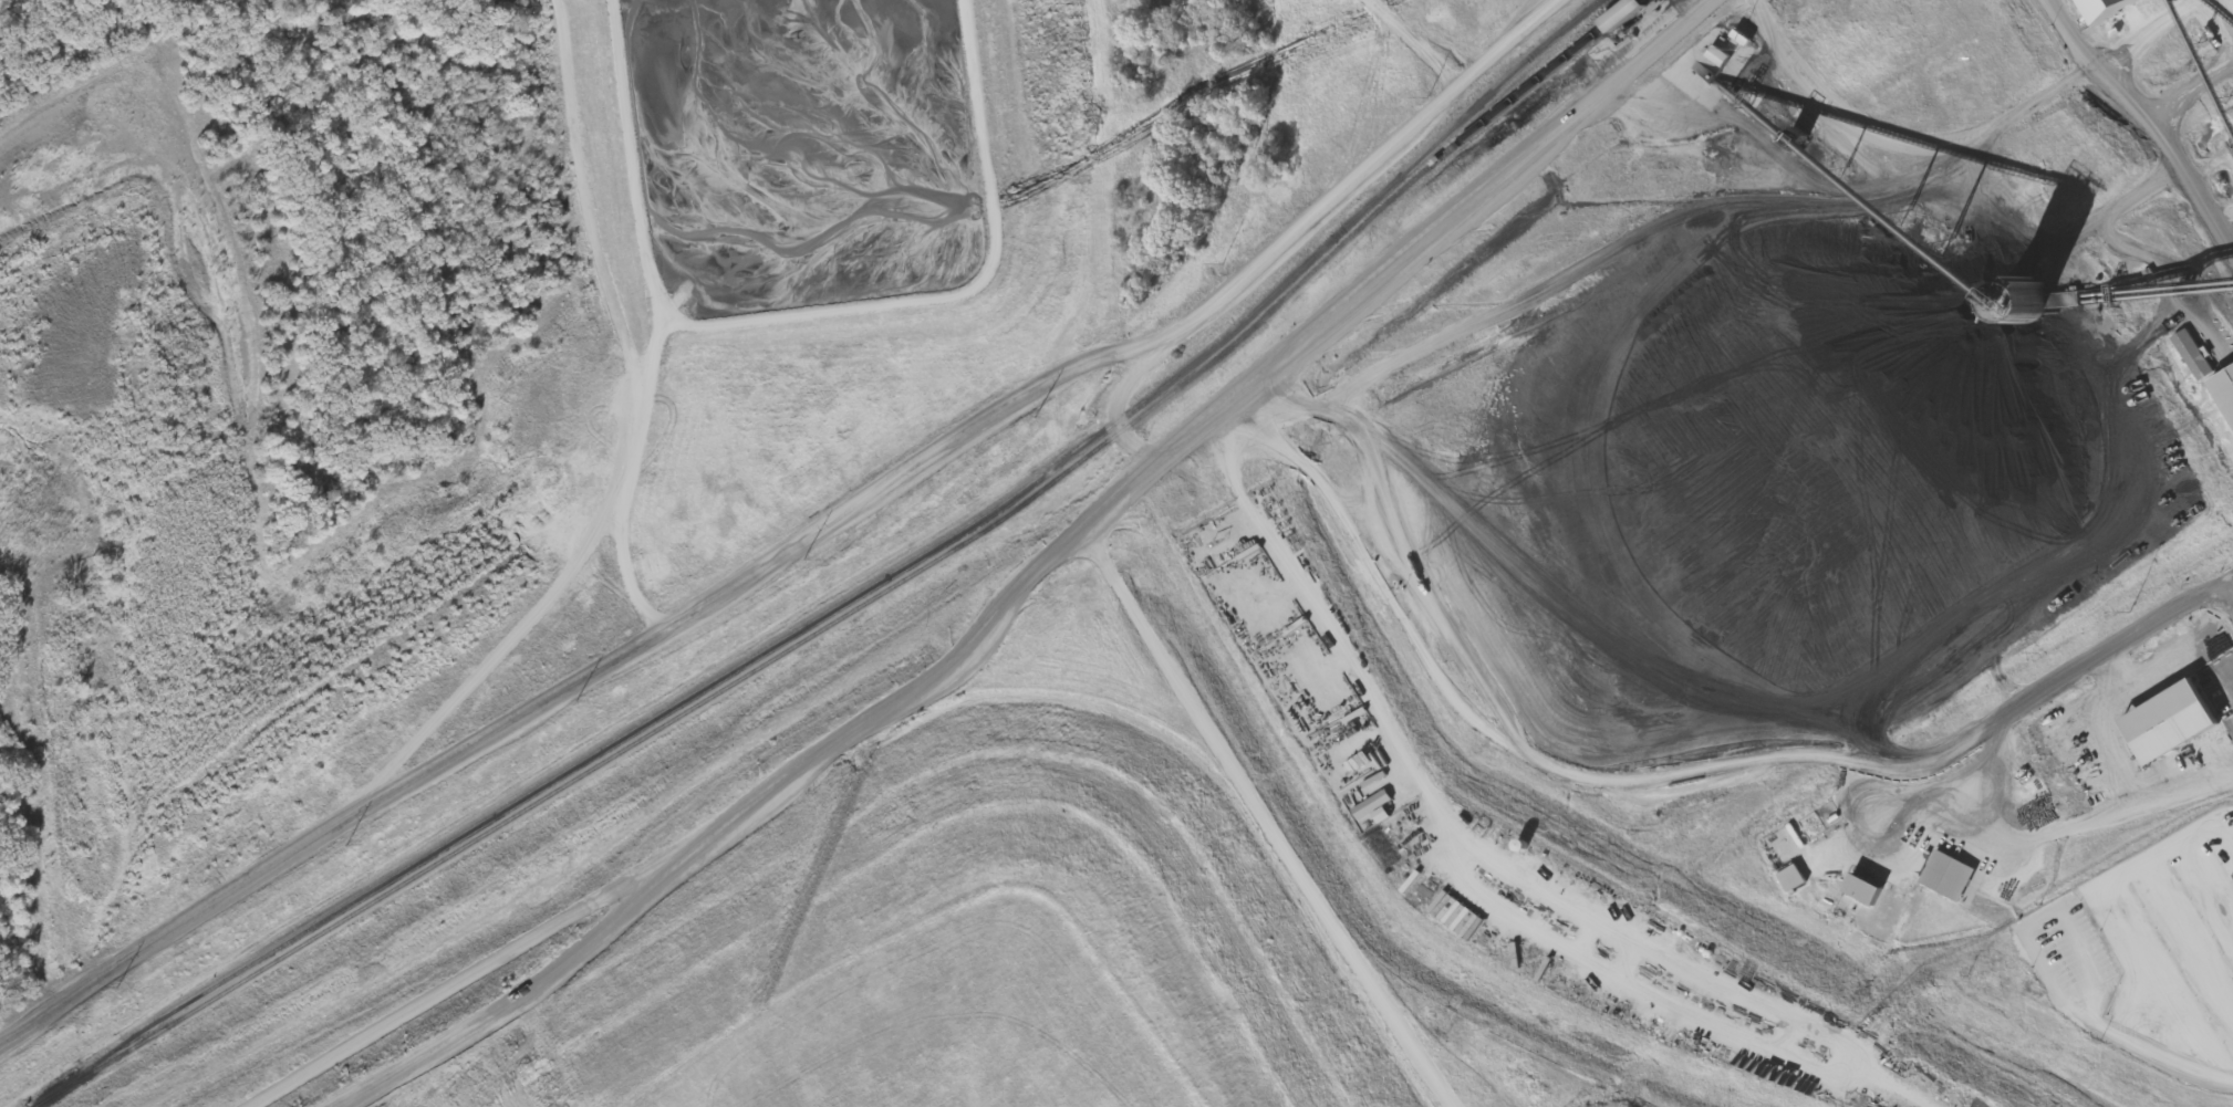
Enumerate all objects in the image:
building: (2113, 9)
building: (1627, 14)
building: (1721, 56)
building: (2195, 356)
building: (2222, 389)
railway: (882, 581)
railway: (869, 602)
power plant: (1383, 637)
building: (2175, 723)
building: (1374, 805)
building: (1384, 816)
building: (1951, 877)
building: (1795, 879)
building: (1867, 891)
building: (1458, 917)

